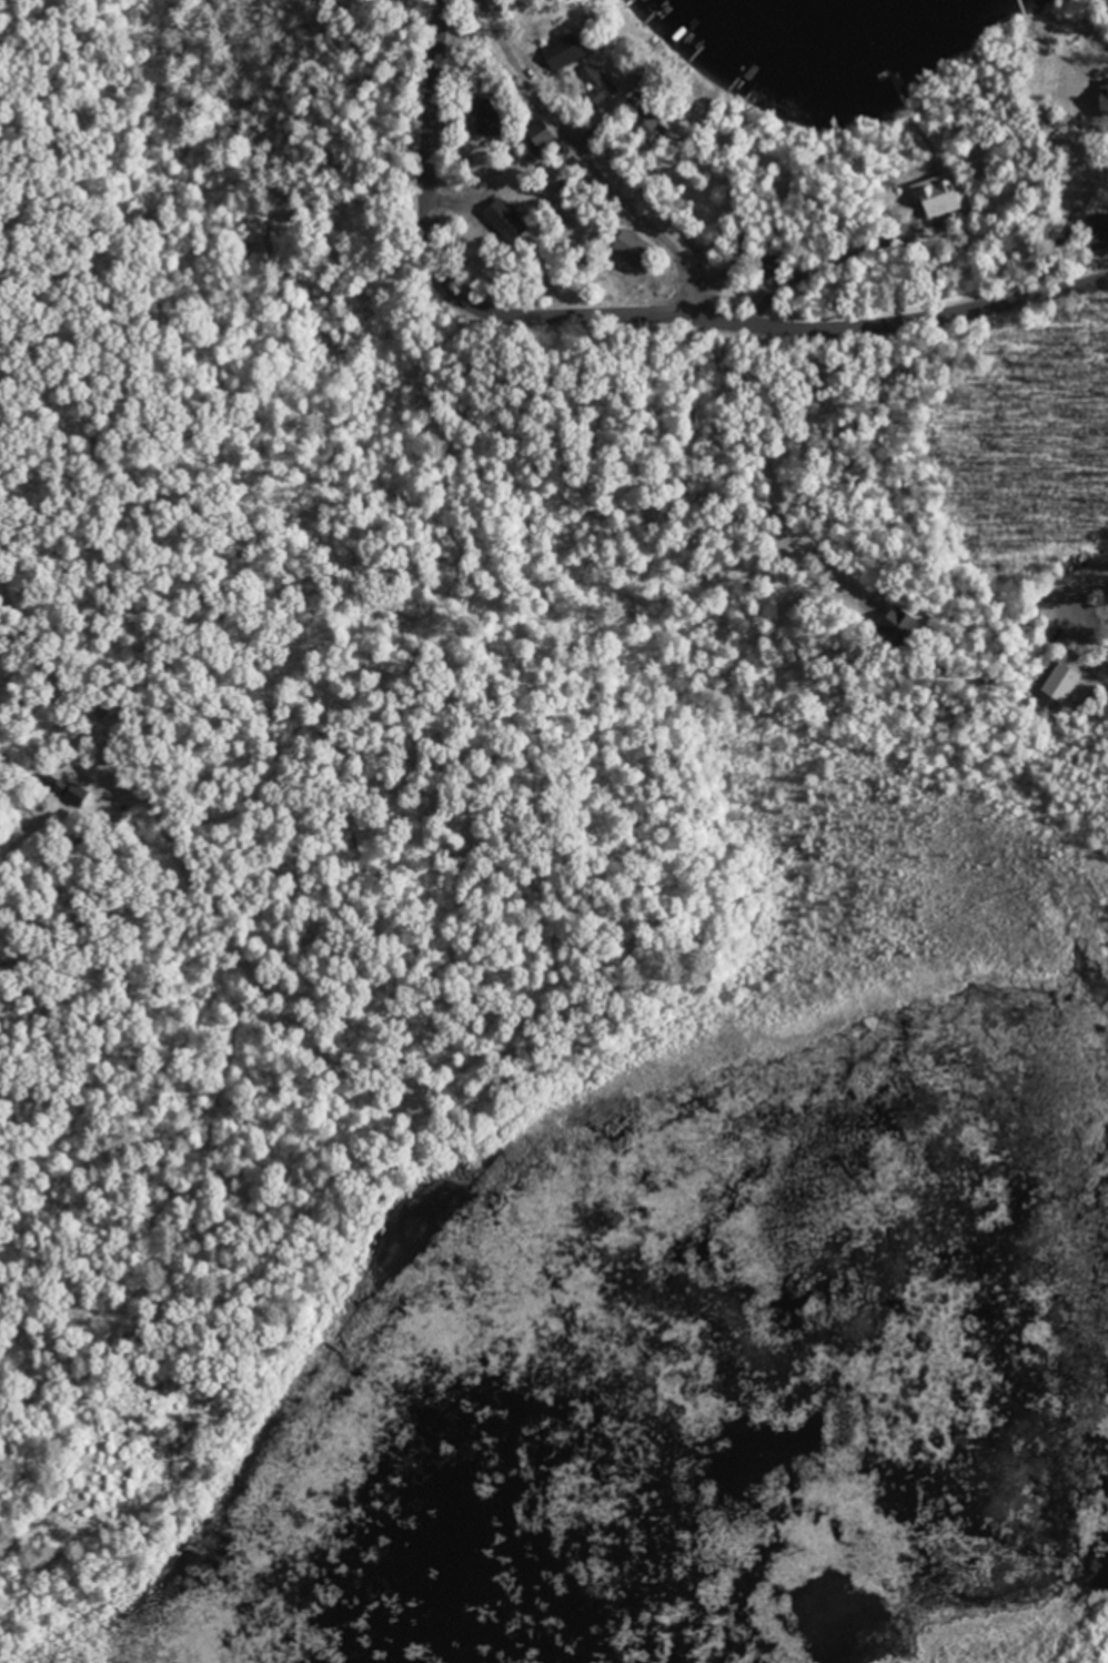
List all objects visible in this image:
road: (883, 195)
building: (947, 208)
road: (615, 315)
road: (651, 563)
road: (240, 738)
building: (67, 785)

